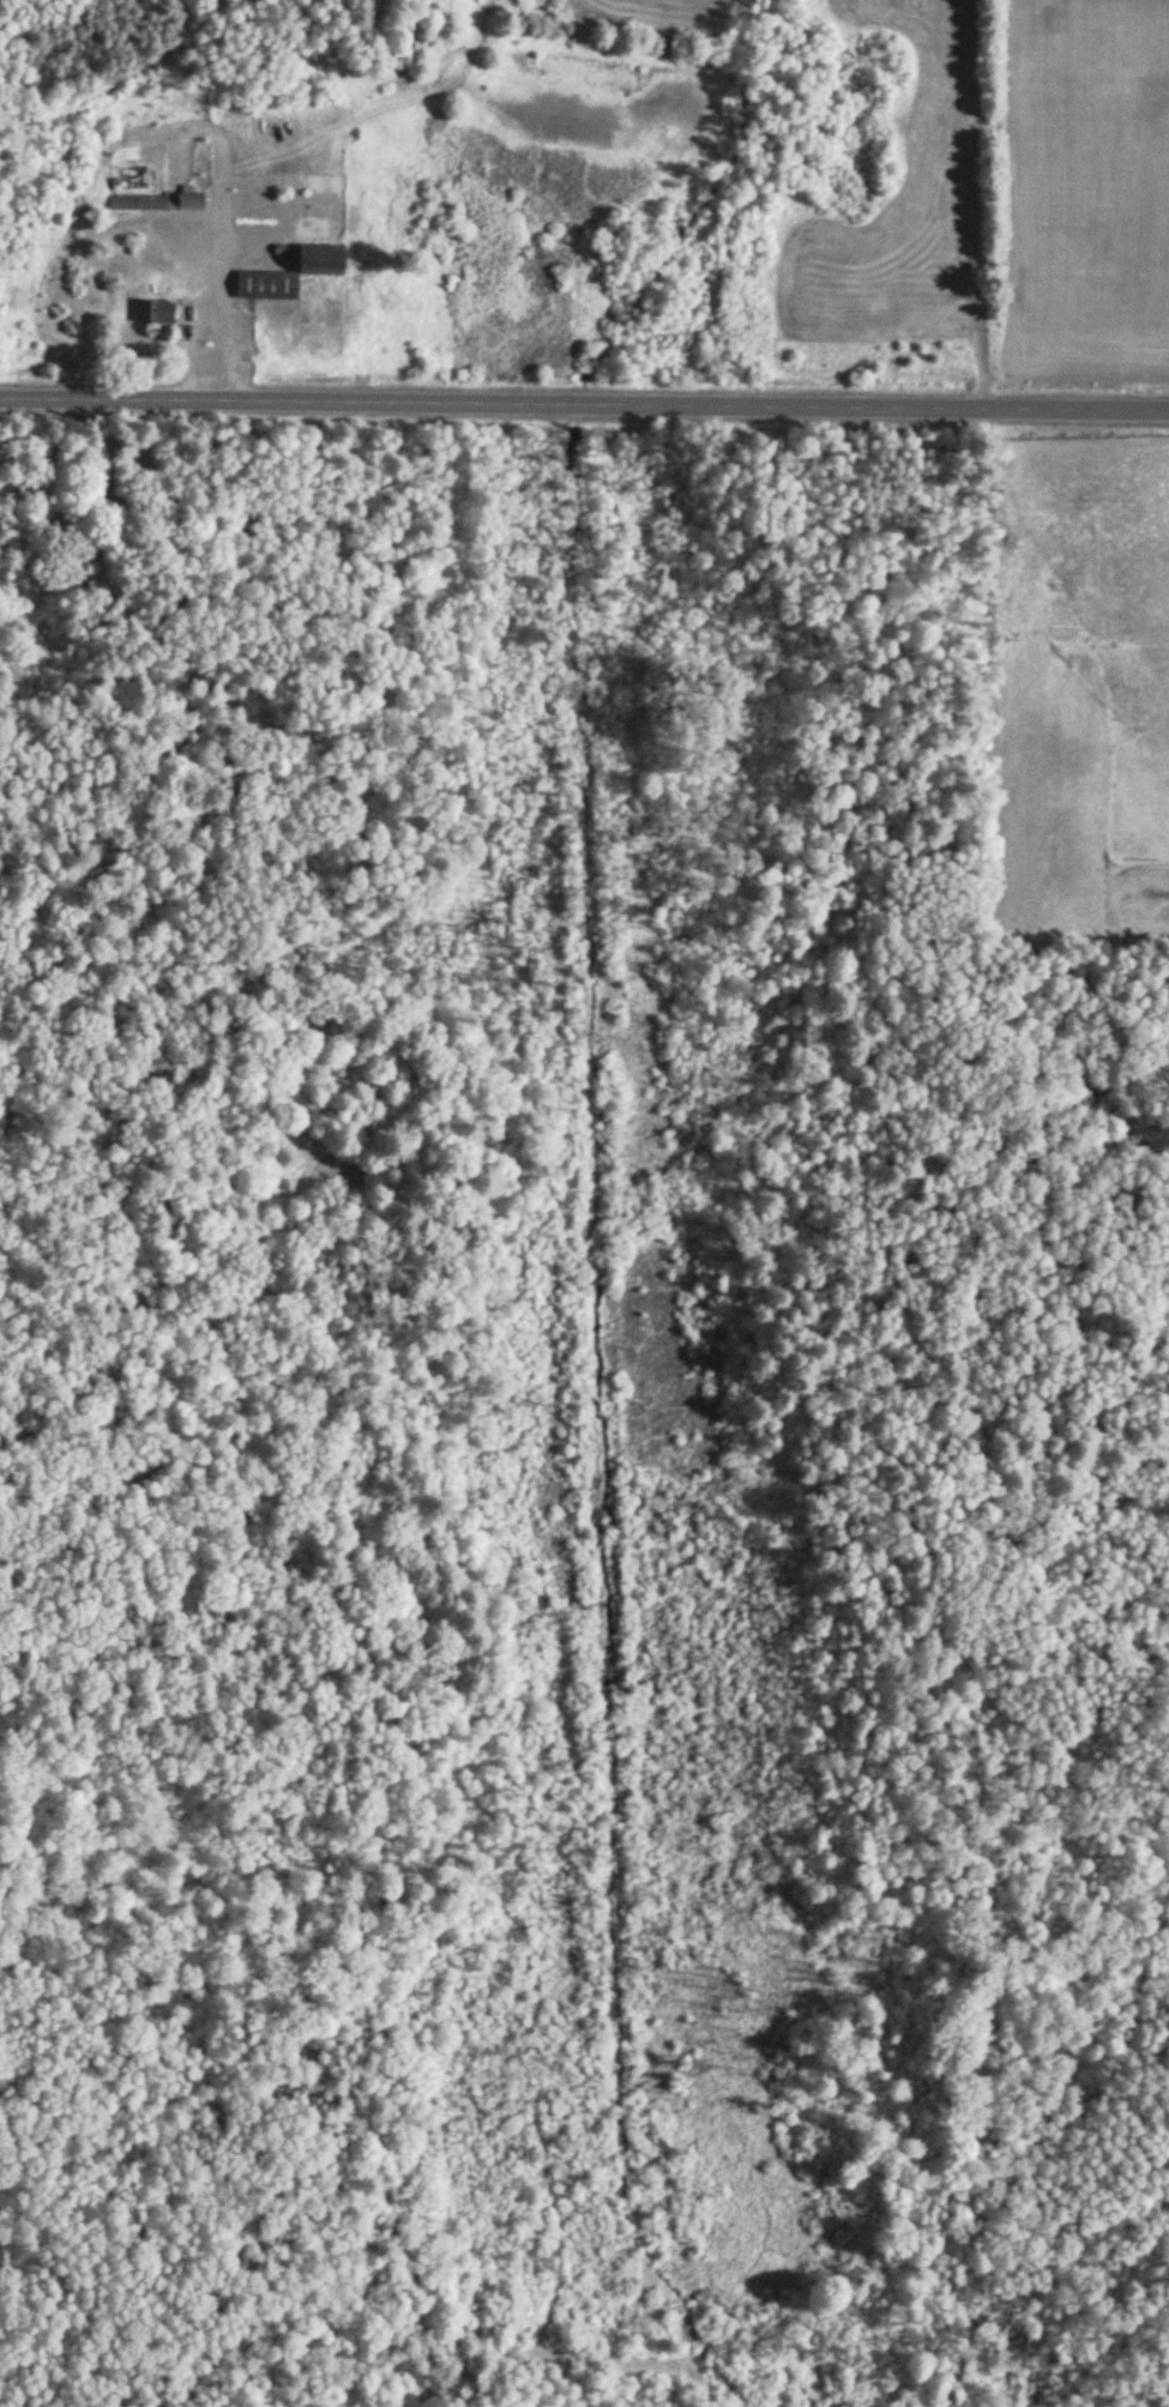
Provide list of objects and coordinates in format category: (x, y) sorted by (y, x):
building: (180, 201)
building: (264, 285)
building: (152, 310)
road: (584, 402)

